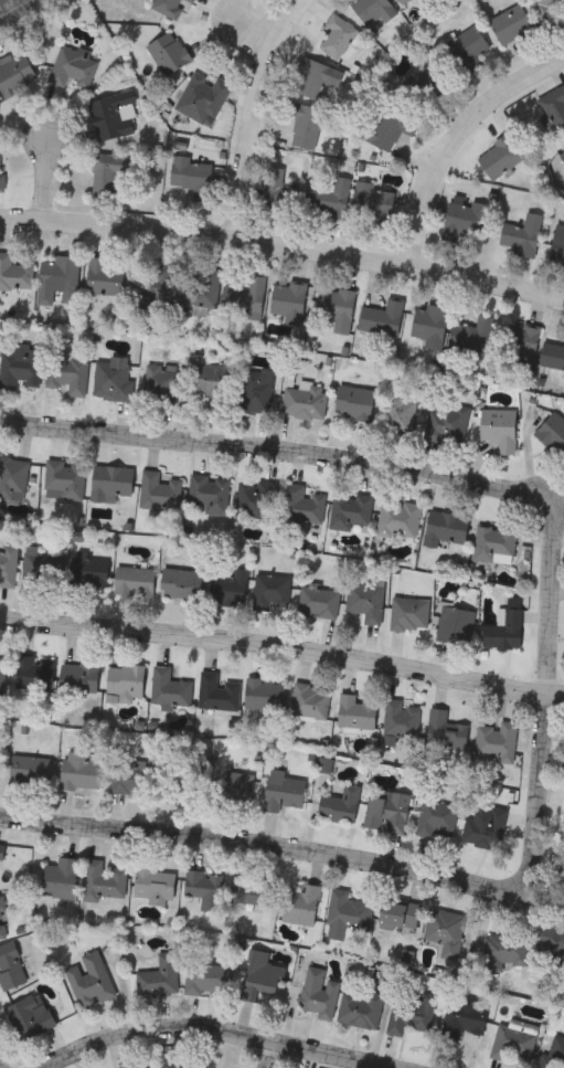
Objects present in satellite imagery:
road: (2, 1)
building: (192, 1)
building: (402, 1)
building: (168, 6)
building: (549, 9)
building: (373, 10)
building: (511, 22)
road: (255, 25)
building: (340, 34)
building: (469, 47)
building: (169, 52)
building: (73, 66)
building: (15, 73)
building: (311, 77)
building: (427, 86)
building: (203, 97)
building: (554, 106)
building: (114, 114)
road: (252, 114)
building: (305, 125)
building: (385, 129)
road: (455, 144)
building: (562, 155)
building: (500, 156)
building: (563, 158)
building: (107, 176)
building: (193, 176)
building: (2, 177)
road: (49, 182)
building: (281, 188)
building: (332, 199)
building: (374, 202)
building: (465, 218)
building: (521, 234)
building: (557, 243)
road: (284, 251)
building: (15, 273)
building: (103, 275)
building: (67, 277)
building: (153, 284)
building: (201, 290)
building: (245, 297)
building: (289, 299)
building: (337, 306)
building: (382, 317)
building: (429, 324)
building: (470, 335)
building: (521, 342)
building: (552, 357)
building: (21, 364)
building: (68, 372)
building: (212, 379)
building: (113, 380)
building: (164, 383)
building: (257, 389)
building: (305, 400)
building: (354, 401)
building: (400, 410)
building: (447, 422)
building: (499, 426)
building: (553, 432)
road: (278, 451)
building: (13, 477)
building: (65, 479)
building: (111, 482)
building: (160, 489)
building: (209, 493)
building: (255, 498)
building: (304, 506)
building: (352, 510)
building: (400, 517)
building: (445, 529)
building: (494, 543)
building: (8, 564)
building: (44, 567)
building: (89, 572)
building: (135, 581)
building: (181, 583)
building: (230, 585)
building: (273, 591)
building: (319, 601)
building: (366, 601)
building: (409, 613)
building: (456, 624)
building: (506, 626)
road: (281, 657)
building: (34, 673)
building: (2, 674)
building: (79, 676)
building: (126, 680)
building: (170, 687)
building: (217, 691)
building: (265, 694)
building: (310, 700)
road: (544, 700)
building: (357, 710)
building: (402, 719)
building: (445, 729)
building: (498, 739)
building: (30, 768)
building: (79, 770)
building: (182, 778)
building: (284, 790)
building: (341, 803)
building: (389, 811)
building: (437, 817)
building: (487, 827)
building: (2, 850)
road: (259, 853)
building: (61, 877)
building: (105, 880)
building: (155, 884)
building: (205, 887)
building: (254, 888)
building: (301, 903)
building: (348, 909)
building: (398, 913)
building: (3, 920)
building: (446, 931)
building: (553, 938)
building: (506, 949)
building: (10, 965)
building: (260, 975)
building: (159, 976)
building: (209, 979)
building: (91, 980)
building: (319, 993)
building: (360, 1007)
building: (414, 1013)
building: (29, 1016)
building: (464, 1017)
road: (212, 1036)
building: (514, 1040)
building: (554, 1051)
road: (270, 1056)
building: (198, 1062)
building: (145, 1067)

